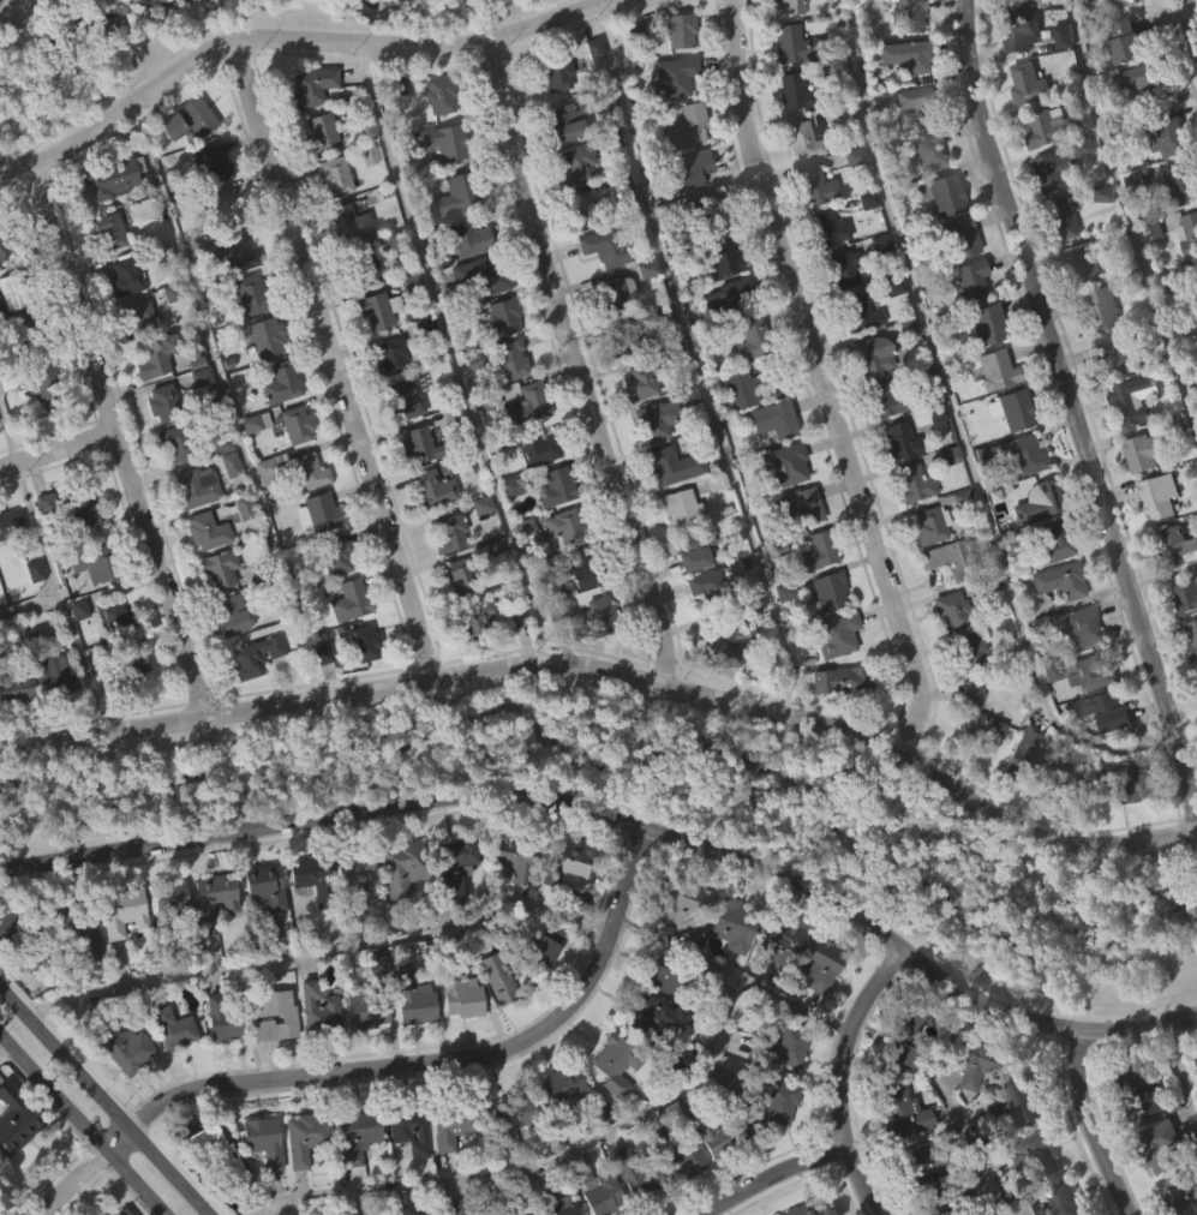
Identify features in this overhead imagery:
building: (1136, 0)
building: (1016, 2)
building: (1029, 2)
building: (789, 6)
building: (880, 12)
building: (909, 14)
road: (1192, 14)
building: (1119, 28)
building: (1028, 30)
road: (292, 38)
building: (795, 43)
building: (1130, 44)
building: (906, 54)
building: (556, 70)
building: (670, 77)
building: (630, 78)
building: (1145, 82)
building: (1027, 83)
building: (1058, 83)
building: (307, 85)
building: (1123, 89)
building: (790, 90)
building: (439, 94)
building: (589, 95)
building: (915, 101)
building: (187, 120)
building: (1055, 121)
building: (561, 124)
building: (682, 125)
building: (1135, 126)
building: (1023, 131)
building: (391, 132)
building: (1165, 132)
building: (321, 133)
building: (800, 139)
building: (443, 142)
building: (926, 149)
building: (215, 164)
building: (574, 164)
building: (184, 166)
building: (1057, 168)
building: (556, 169)
building: (682, 169)
building: (330, 175)
building: (112, 178)
building: (1162, 182)
building: (818, 186)
building: (1178, 186)
building: (797, 187)
building: (437, 188)
building: (456, 193)
building: (939, 193)
building: (364, 200)
building: (849, 203)
building: (231, 207)
building: (210, 209)
building: (705, 209)
building: (582, 210)
road: (1130, 211)
building: (683, 216)
building: (1063, 219)
building: (347, 222)
building: (330, 223)
building: (828, 228)
building: (112, 229)
building: (1132, 229)
building: (1177, 232)
building: (810, 233)
building: (1190, 234)
building: (958, 235)
building: (468, 237)
building: (6, 240)
building: (936, 240)
building: (606, 247)
building: (863, 247)
building: (217, 250)
building: (237, 253)
building: (723, 255)
building: (577, 257)
building: (1081, 261)
building: (360, 265)
building: (1060, 265)
building: (843, 268)
building: (1196, 270)
building: (478, 271)
building: (824, 275)
building: (128, 276)
building: (103, 279)
building: (149, 279)
building: (965, 279)
building: (465, 283)
building: (19, 289)
building: (875, 289)
building: (250, 293)
building: (610, 294)
building: (234, 300)
building: (729, 300)
building: (378, 309)
building: (359, 310)
building: (1077, 310)
building: (1100, 310)
building: (862, 315)
building: (504, 316)
building: (642, 316)
building: (838, 316)
building: (140, 318)
building: (477, 319)
building: (980, 323)
building: (1193, 323)
building: (120, 324)
building: (890, 331)
building: (26, 334)
building: (265, 336)
building: (627, 340)
building: (753, 340)
building: (246, 341)
building: (723, 347)
road: (451, 353)
building: (385, 355)
building: (873, 355)
building: (1096, 355)
building: (11, 357)
building: (161, 357)
building: (370, 357)
building: (1118, 357)
road: (334, 358)
building: (505, 358)
building: (855, 359)
building: (133, 361)
road: (576, 364)
road: (693, 365)
building: (1196, 366)
building: (993, 369)
building: (420, 373)
building: (904, 373)
road: (821, 377)
building: (642, 381)
building: (276, 382)
building: (40, 383)
building: (743, 384)
building: (884, 395)
building: (401, 399)
road: (226, 400)
building: (1130, 400)
building: (527, 401)
building: (166, 402)
building: (1108, 402)
building: (504, 406)
building: (1009, 407)
road: (1073, 408)
building: (990, 415)
building: (653, 418)
building: (772, 418)
building: (251, 421)
building: (196, 424)
building: (292, 424)
road: (957, 426)
building: (276, 429)
building: (633, 429)
building: (43, 431)
building: (737, 435)
road: (7, 438)
road: (119, 439)
building: (173, 441)
building: (683, 442)
building: (900, 442)
building: (880, 443)
building: (1159, 443)
building: (401, 444)
building: (418, 445)
building: (532, 445)
building: (1130, 447)
road: (58, 449)
building: (158, 450)
building: (1022, 454)
building: (923, 460)
building: (785, 462)
building: (669, 465)
building: (267, 467)
building: (250, 468)
building: (304, 471)
building: (915, 483)
building: (192, 486)
building: (556, 487)
building: (896, 487)
building: (413, 489)
building: (433, 489)
building: (169, 490)
building: (216, 490)
building: (531, 493)
building: (1156, 496)
building: (1139, 497)
building: (945, 501)
building: (1011, 501)
building: (796, 503)
building: (1039, 503)
building: (85, 504)
building: (677, 507)
building: (226, 511)
building: (318, 513)
building: (259, 517)
building: (11, 522)
building: (927, 523)
building: (564, 527)
building: (711, 527)
building: (909, 528)
building: (202, 531)
building: (449, 531)
building: (504, 532)
building: (429, 534)
building: (1154, 541)
building: (1051, 543)
building: (1174, 546)
building: (40, 550)
building: (815, 550)
building: (477, 551)
building: (688, 551)
building: (794, 551)
building: (79, 552)
building: (238, 553)
building: (331, 553)
building: (312, 558)
building: (948, 558)
building: (94, 563)
building: (583, 567)
building: (215, 568)
building: (8, 570)
building: (923, 571)
building: (519, 573)
building: (559, 573)
building: (457, 576)
building: (202, 577)
building: (1061, 580)
building: (714, 585)
building: (826, 589)
building: (1172, 593)
building: (1185, 597)
building: (810, 598)
building: (349, 599)
road: (58, 600)
building: (333, 600)
building: (686, 600)
road: (28, 604)
building: (556, 609)
building: (88, 610)
building: (948, 610)
building: (223, 615)
building: (595, 615)
building: (30, 617)
building: (118, 617)
building: (453, 622)
building: (474, 622)
building: (1079, 624)
building: (1055, 627)
building: (702, 632)
building: (777, 632)
building: (833, 634)
building: (1191, 640)
building: (364, 641)
building: (726, 645)
building: (345, 647)
building: (966, 648)
building: (73, 656)
building: (250, 656)
building: (946, 657)
building: (593, 660)
building: (107, 662)
building: (226, 662)
building: (513, 662)
building: (468, 666)
building: (126, 670)
road: (611, 672)
building: (1090, 672)
building: (61, 677)
building: (35, 680)
building: (843, 680)
building: (1189, 683)
building: (359, 689)
building: (718, 689)
building: (18, 690)
building: (963, 696)
building: (317, 699)
building: (250, 704)
building: (128, 711)
building: (1108, 711)
building: (976, 717)
building: (1084, 718)
building: (52, 724)
building: (836, 726)
road: (1186, 726)
building: (12, 737)
building: (1022, 755)
building: (1101, 758)
building: (972, 762)
building: (1065, 784)
building: (1127, 784)
building: (1022, 798)
road: (620, 822)
building: (1123, 828)
building: (515, 854)
building: (565, 863)
building: (400, 867)
building: (454, 869)
building: (355, 873)
building: (313, 876)
building: (265, 886)
building: (214, 894)
building: (167, 904)
building: (692, 905)
building: (510, 910)
building: (122, 911)
building: (562, 911)
building: (395, 912)
building: (448, 914)
building: (304, 917)
building: (351, 918)
building: (79, 927)
building: (752, 929)
building: (259, 933)
building: (18, 936)
building: (529, 938)
building: (164, 941)
building: (211, 942)
road: (315, 951)
building: (677, 952)
building: (119, 959)
building: (815, 963)
building: (668, 969)
building: (726, 971)
building: (6, 974)
building: (76, 975)
road: (730, 976)
building: (496, 977)
building: (776, 978)
building: (540, 989)
building: (459, 992)
building: (412, 995)
building: (768, 1002)
building: (318, 1008)
building: (366, 1008)
building: (276, 1010)
building: (815, 1010)
building: (222, 1018)
building: (651, 1021)
building: (491, 1024)
building: (173, 1027)
building: (902, 1034)
building: (407, 1040)
building: (456, 1042)
road: (0, 1043)
building: (777, 1047)
building: (124, 1048)
building: (313, 1054)
building: (363, 1058)
building: (282, 1060)
building: (650, 1060)
building: (611, 1064)
building: (972, 1064)
building: (217, 1065)
road: (1184, 1070)
road: (389, 1072)
building: (168, 1073)
road: (843, 1078)
building: (1141, 1094)
building: (120, 1095)
building: (558, 1099)
building: (768, 1099)
building: (1019, 1100)
road: (100, 1103)
road: (948, 1105)
building: (1195, 1107)
building: (609, 1108)
building: (903, 1109)
building: (966, 1113)
building: (18, 1117)
building: (507, 1117)
building: (445, 1121)
road: (1090, 1125)
building: (408, 1127)
road: (78, 1129)
building: (555, 1131)
building: (712, 1132)
building: (300, 1136)
building: (355, 1136)
building: (1137, 1137)
building: (256, 1138)
building: (1162, 1144)
building: (772, 1147)
building: (674, 1153)
building: (1030, 1154)
building: (4, 1155)
building: (213, 1156)
building: (897, 1157)
building: (504, 1163)
road: (533, 1166)
building: (923, 1166)
building: (636, 1169)
road: (772, 1174)
building: (405, 1175)
building: (447, 1175)
building: (351, 1181)
building: (300, 1183)
building: (707, 1183)
building: (258, 1185)
building: (1156, 1189)
building: (205, 1192)
building: (602, 1195)
building: (1184, 1196)
building: (1027, 1198)
building: (1053, 1199)
building: (678, 1201)
building: (550, 1203)
building: (948, 1203)
building: (453, 1205)
building: (622, 1205)
building: (498, 1207)
building: (812, 1208)
building: (415, 1209)
building: (127, 1211)
building: (355, 1213)
building: (579, 1213)
building: (475, 1214)

